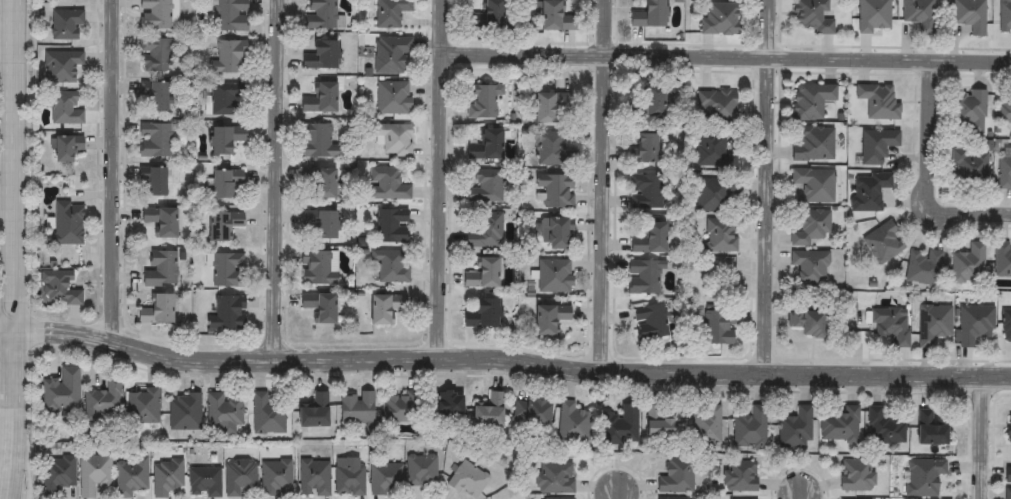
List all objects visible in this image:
building: (390, 13)
building: (319, 14)
building: (648, 14)
building: (229, 15)
building: (920, 15)
building: (970, 15)
building: (486, 16)
building: (873, 16)
building: (551, 17)
building: (811, 17)
building: (1005, 17)
building: (720, 19)
building: (64, 23)
road: (604, 28)
building: (154, 54)
building: (390, 54)
building: (319, 56)
road: (727, 57)
building: (226, 58)
building: (59, 65)
building: (155, 97)
building: (392, 98)
building: (227, 99)
building: (319, 99)
building: (481, 101)
building: (810, 101)
building: (878, 101)
building: (645, 102)
building: (547, 106)
building: (717, 107)
building: (1004, 108)
building: (63, 110)
building: (969, 111)
building: (152, 140)
building: (223, 140)
building: (392, 140)
building: (318, 141)
building: (487, 145)
building: (812, 145)
building: (876, 146)
building: (549, 147)
building: (64, 148)
building: (645, 148)
building: (712, 152)
building: (968, 168)
building: (1004, 168)
road: (112, 169)
road: (929, 171)
road: (442, 179)
road: (276, 180)
building: (153, 181)
building: (318, 182)
building: (222, 183)
building: (386, 184)
building: (813, 184)
road: (768, 186)
building: (483, 187)
building: (554, 191)
building: (868, 191)
building: (645, 192)
building: (714, 196)
road: (601, 215)
building: (158, 221)
building: (319, 224)
building: (64, 226)
building: (221, 226)
building: (390, 226)
building: (811, 227)
building: (483, 231)
building: (555, 233)
building: (719, 235)
building: (648, 240)
building: (882, 243)
road: (17, 249)
building: (1002, 260)
building: (967, 265)
building: (388, 266)
building: (716, 267)
building: (922, 267)
building: (317, 268)
building: (808, 268)
building: (158, 270)
building: (226, 270)
building: (481, 274)
building: (554, 276)
building: (642, 278)
building: (56, 288)
building: (318, 307)
building: (382, 308)
building: (154, 311)
building: (226, 313)
building: (481, 314)
building: (548, 318)
building: (649, 322)
building: (805, 322)
building: (934, 324)
building: (974, 324)
building: (891, 325)
building: (1006, 325)
building: (716, 328)
road: (503, 360)
building: (60, 392)
building: (102, 403)
building: (141, 407)
building: (355, 408)
building: (399, 409)
building: (448, 410)
building: (183, 413)
building: (488, 413)
building: (530, 413)
building: (313, 414)
building: (222, 415)
building: (266, 416)
building: (656, 424)
building: (573, 425)
building: (620, 426)
building: (840, 426)
building: (706, 427)
building: (1009, 428)
building: (751, 429)
building: (885, 429)
building: (796, 430)
building: (930, 430)
road: (986, 437)
building: (422, 471)
building: (93, 474)
building: (857, 475)
building: (1008, 475)
building: (56, 476)
building: (740, 476)
building: (130, 477)
building: (676, 477)
building: (924, 477)
building: (166, 478)
building: (239, 478)
building: (349, 478)
building: (556, 478)
building: (276, 479)
building: (314, 479)
building: (386, 480)
building: (468, 481)
building: (204, 482)
building: (1008, 494)

